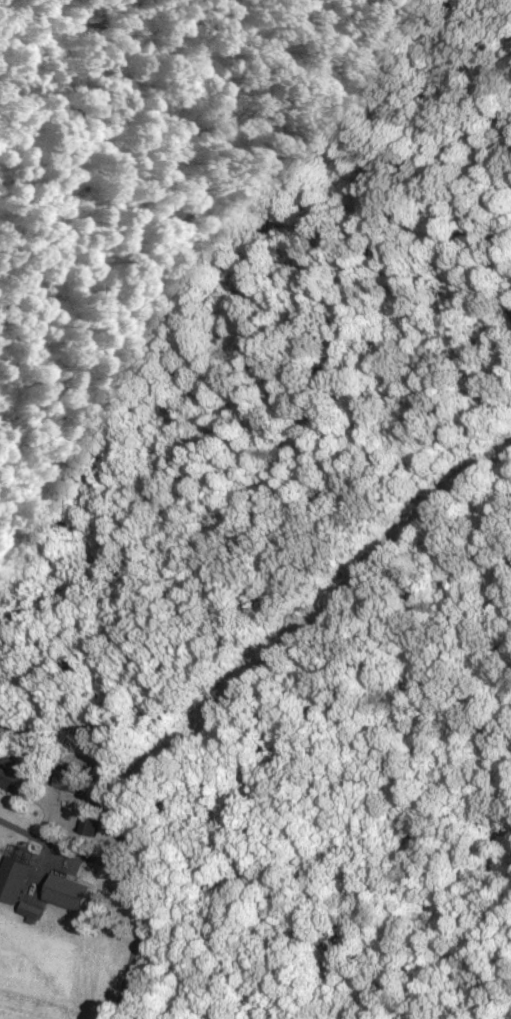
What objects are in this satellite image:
building: (11, 773)
building: (72, 776)
building: (90, 821)
road: (87, 854)
building: (67, 890)
road: (128, 968)

